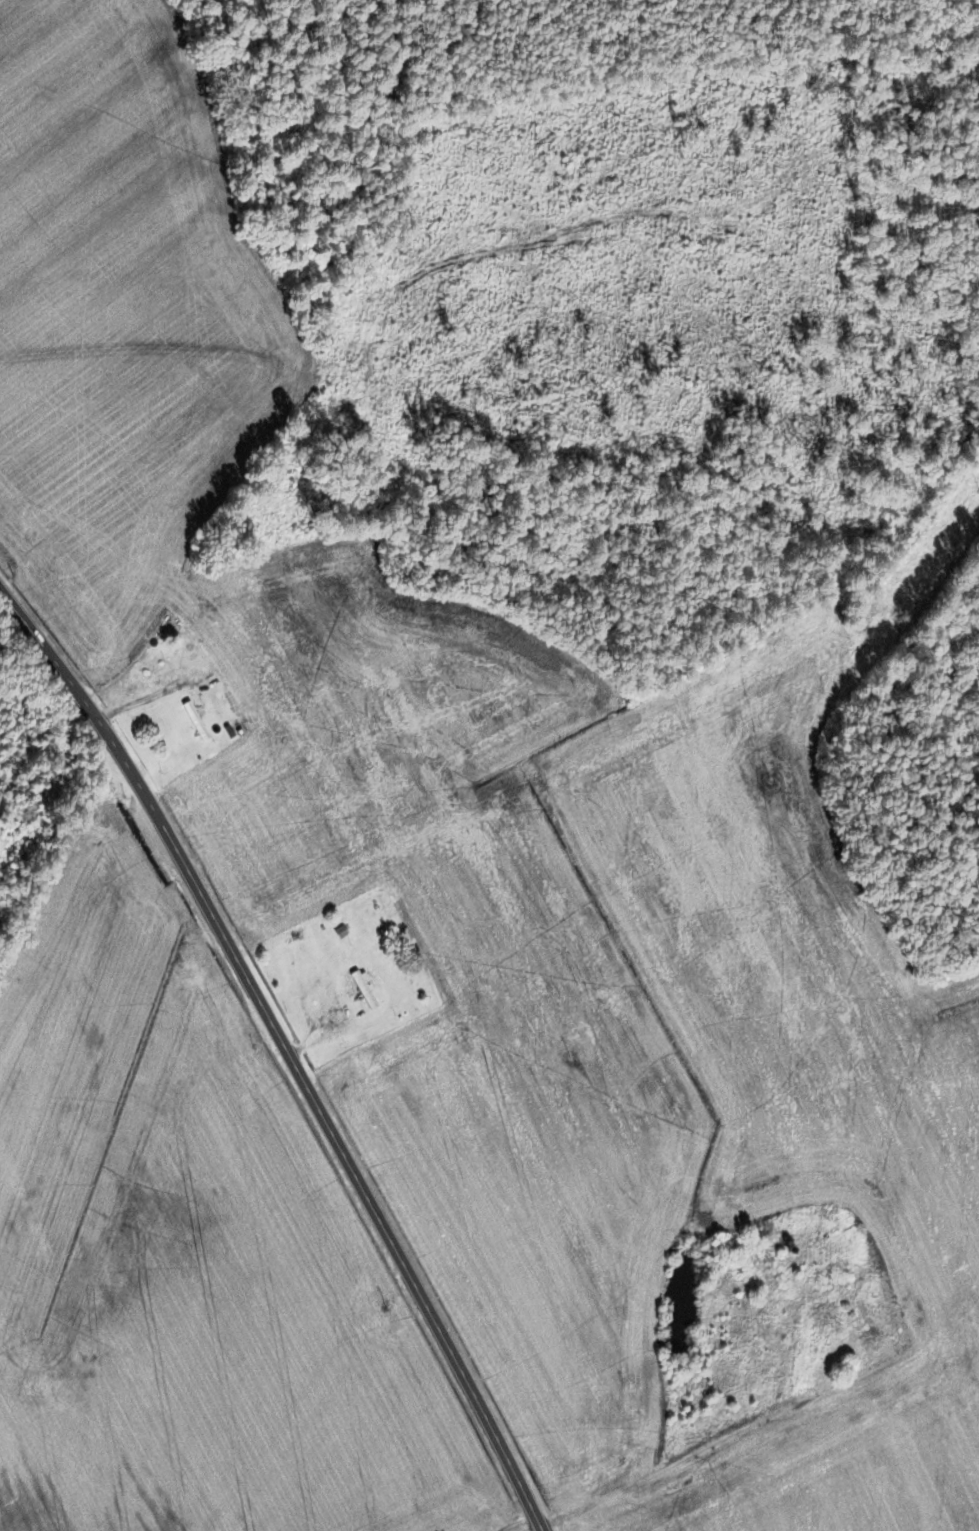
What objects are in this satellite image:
building: (357, 990)
road: (287, 1049)
building: (866, 1319)

